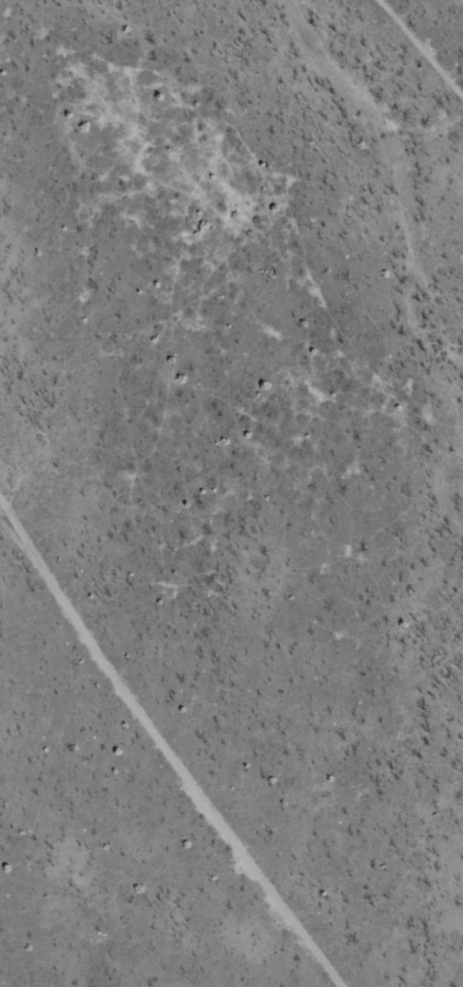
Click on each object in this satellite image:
road: (163, 764)

